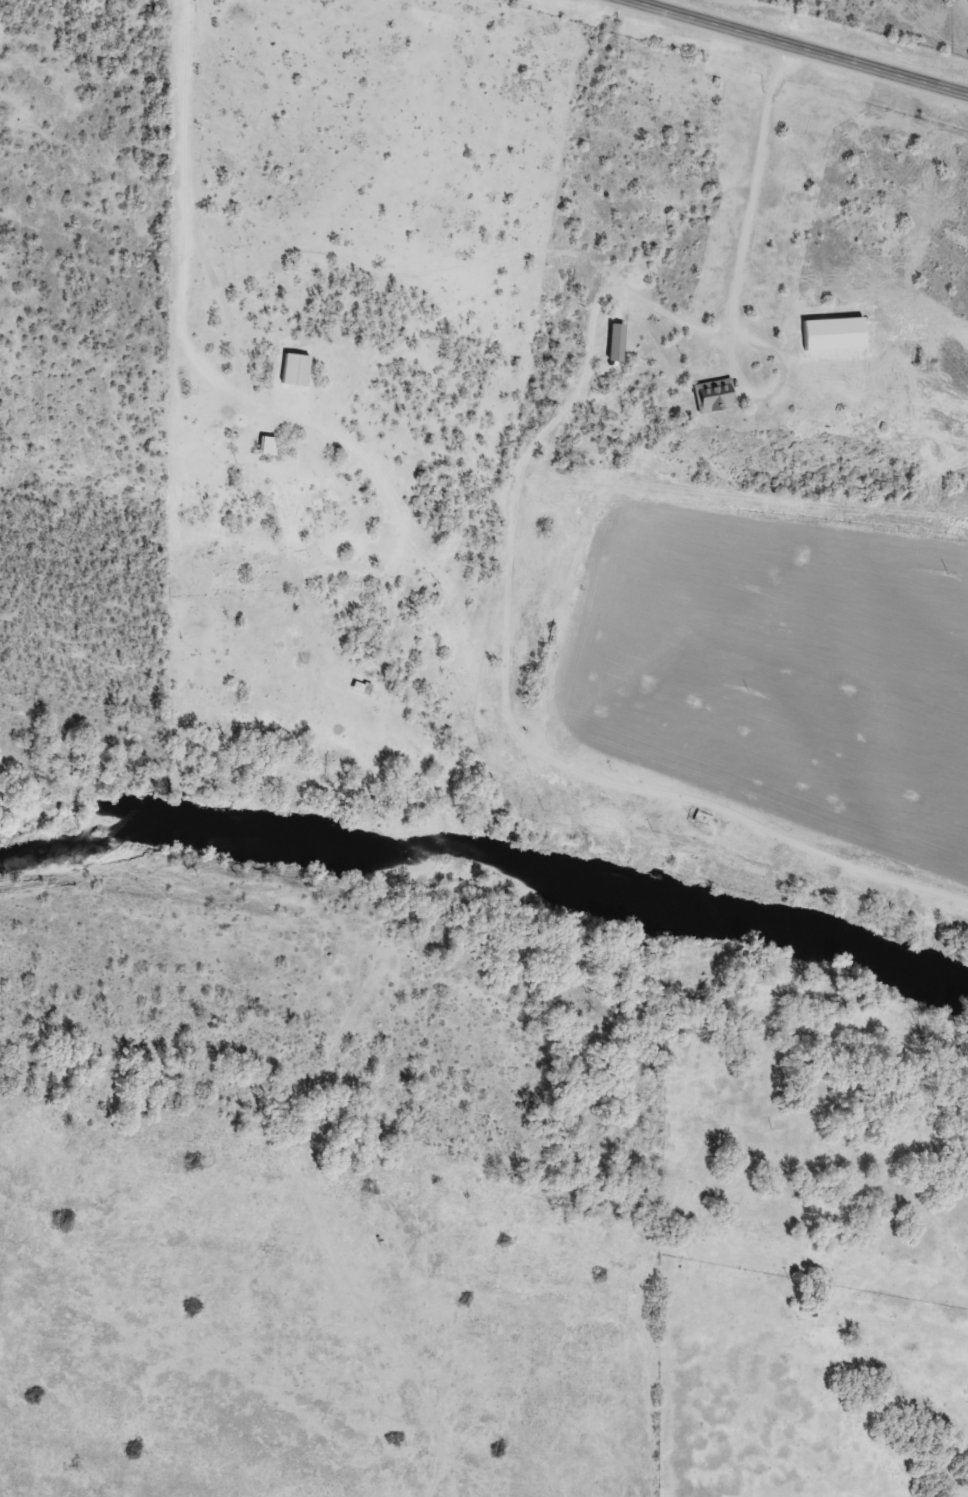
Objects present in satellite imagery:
road: (800, 45)
building: (614, 342)
building: (293, 368)
building: (713, 395)
building: (265, 445)
road: (492, 569)
building: (359, 687)
river: (492, 864)
road: (390, 934)
road: (10, 1330)

